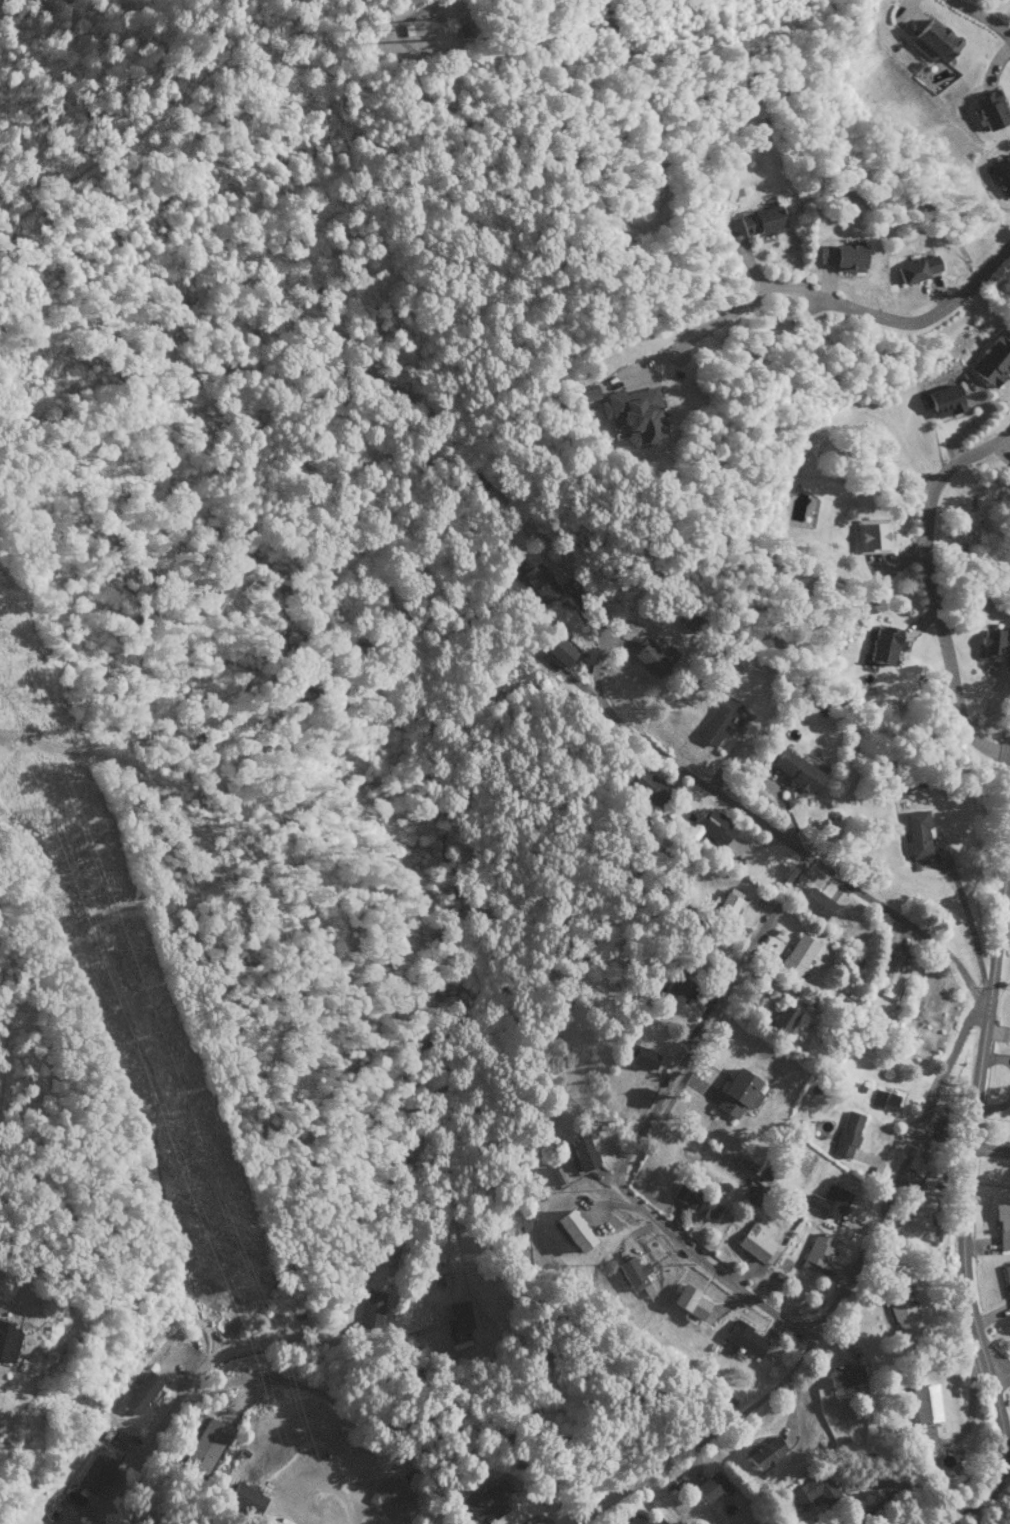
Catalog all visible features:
road: (982, 17)
building: (933, 41)
building: (990, 109)
building: (1002, 174)
building: (760, 220)
building: (842, 256)
building: (917, 268)
road: (847, 307)
building: (993, 358)
building: (587, 392)
building: (942, 400)
building: (633, 414)
building: (871, 536)
building: (540, 582)
road: (928, 588)
building: (689, 621)
building: (993, 643)
building: (883, 644)
building: (559, 651)
building: (653, 657)
building: (718, 719)
road: (693, 756)
building: (795, 770)
road: (1009, 773)
building: (648, 786)
building: (710, 826)
building: (917, 834)
road: (827, 869)
building: (729, 900)
building: (815, 902)
building: (797, 955)
building: (673, 991)
building: (781, 1019)
building: (642, 1057)
building: (737, 1093)
building: (643, 1096)
building: (937, 1129)
building: (846, 1133)
road: (627, 1150)
building: (583, 1152)
building: (745, 1163)
road: (900, 1167)
building: (754, 1195)
road: (965, 1198)
building: (694, 1201)
building: (831, 1201)
building: (922, 1202)
building: (1003, 1224)
building: (573, 1230)
building: (754, 1240)
building: (815, 1250)
building: (633, 1274)
building: (1007, 1276)
building: (690, 1302)
building: (372, 1308)
building: (458, 1315)
building: (903, 1316)
building: (745, 1338)
building: (8, 1341)
road: (995, 1362)
road: (199, 1367)
building: (842, 1375)
building: (140, 1392)
road: (765, 1393)
building: (924, 1402)
building: (118, 1440)
building: (203, 1443)
building: (765, 1452)
building: (96, 1470)
building: (711, 1486)
road: (320, 1488)
building: (812, 1491)
building: (390, 1497)
building: (245, 1498)
building: (488, 1499)
building: (635, 1520)

